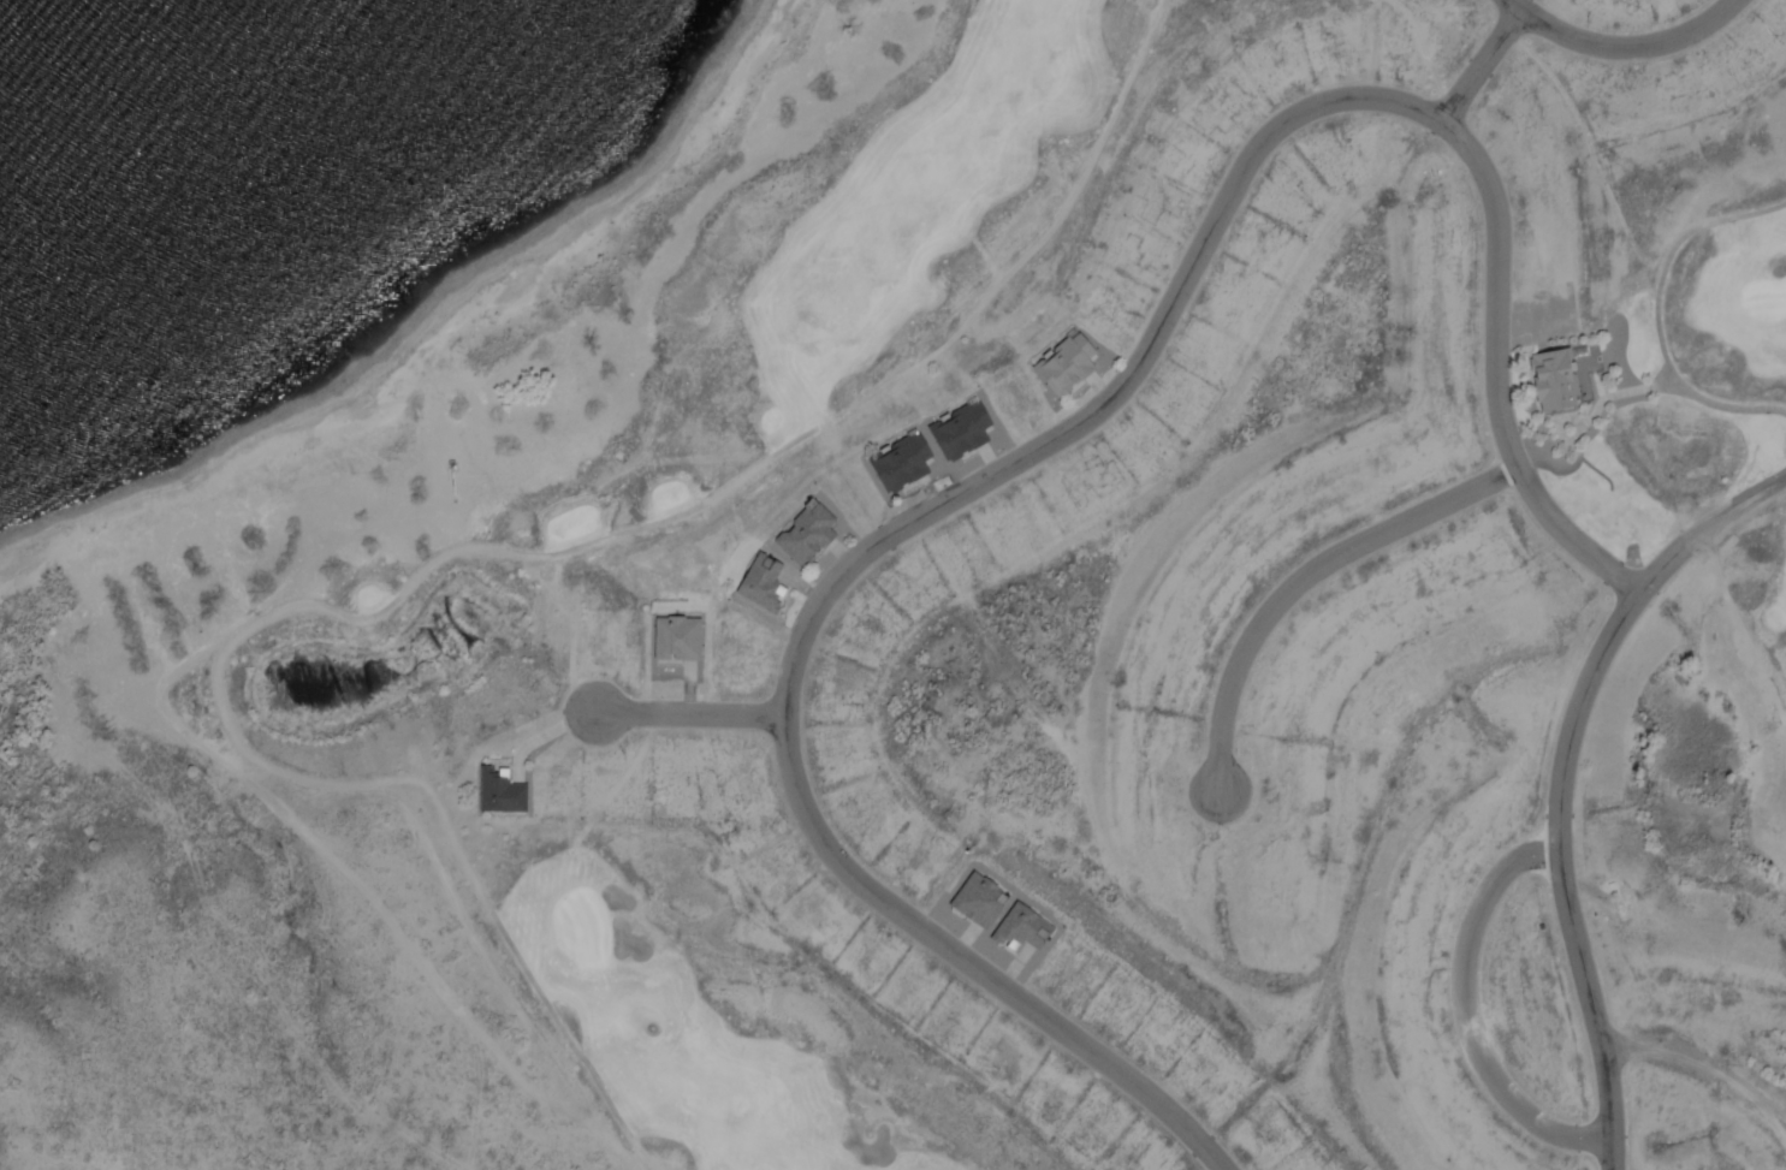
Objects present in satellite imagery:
road: (1621, 47)
road: (1481, 66)
park: (873, 263)
road: (1656, 313)
building: (1058, 364)
building: (1549, 380)
road: (1622, 392)
park: (1684, 404)
road: (1074, 426)
building: (955, 432)
building: (895, 464)
building: (1608, 509)
road: (1733, 510)
building: (802, 534)
road: (431, 565)
road: (1309, 574)
building: (758, 583)
building: (674, 639)
road: (699, 715)
building: (499, 792)
road: (1560, 843)
building: (974, 902)
building: (1019, 930)
road: (1466, 1014)
park: (690, 1021)

